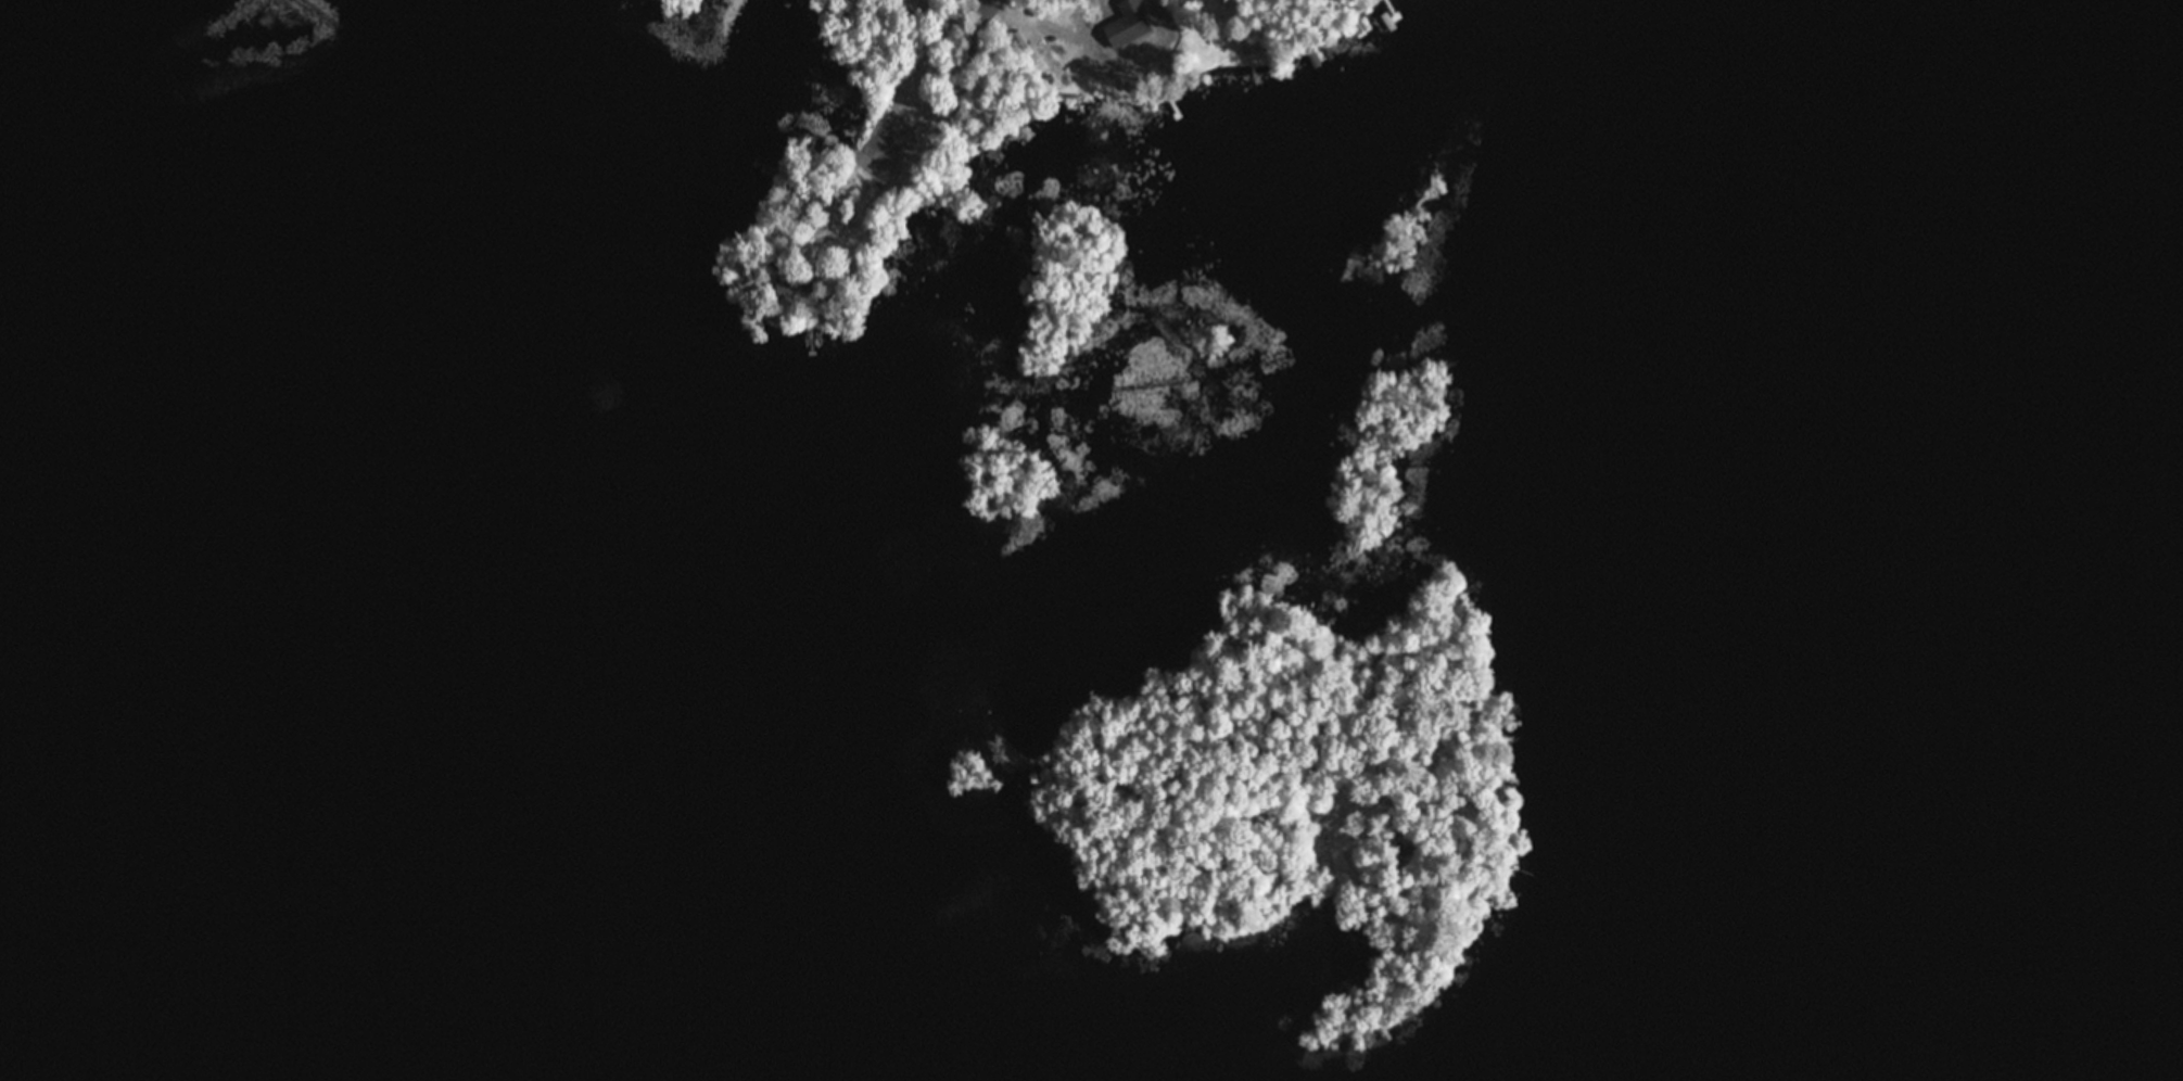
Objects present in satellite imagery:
road: (931, 120)
building: (794, 285)
river: (2116, 383)
building: (1404, 842)
river: (128, 942)
river: (2176, 1067)

